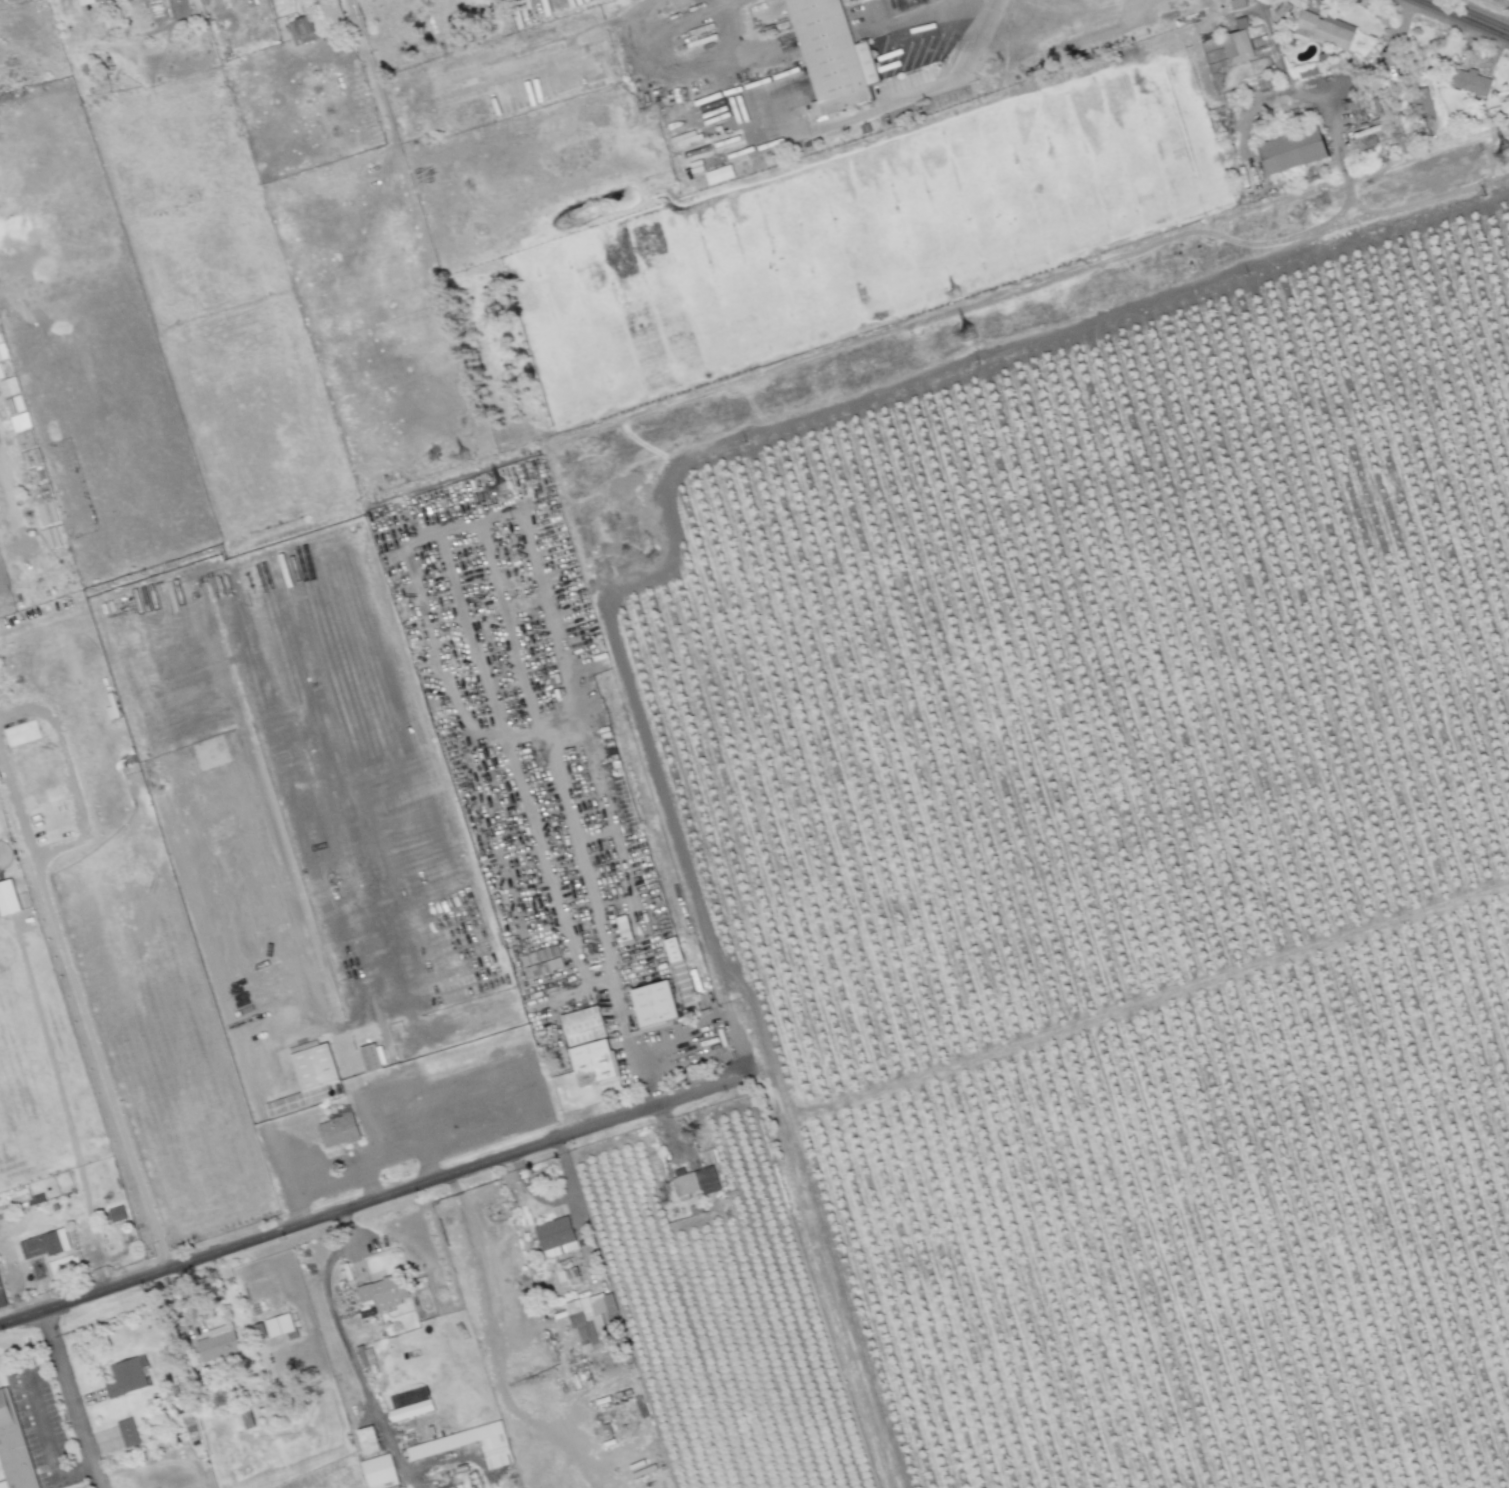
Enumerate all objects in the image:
building: (86, 2)
building: (1236, 4)
building: (330, 11)
road: (1467, 17)
building: (302, 29)
building: (1328, 30)
building: (1238, 45)
building: (831, 52)
road: (1348, 74)
building: (1468, 81)
building: (1421, 104)
road: (825, 117)
power tower: (1446, 131)
building: (1292, 148)
power tower: (1507, 156)
building: (718, 174)
power tower: (956, 292)
power tower: (973, 333)
building: (19, 422)
power tower: (460, 458)
power tower: (501, 487)
road: (517, 521)
building: (50, 537)
building: (20, 733)
railway: (1257, 744)
building: (7, 898)
building: (623, 928)
building: (540, 961)
building: (677, 966)
road: (595, 974)
building: (653, 1004)
building: (651, 1023)
building: (582, 1026)
building: (583, 1045)
building: (371, 1057)
road: (97, 1061)
building: (592, 1063)
building: (310, 1078)
building: (591, 1082)
building: (338, 1131)
building: (695, 1182)
road: (376, 1200)
building: (115, 1214)
building: (555, 1237)
building: (44, 1244)
building: (568, 1277)
building: (382, 1292)
road: (330, 1309)
building: (588, 1319)
building: (278, 1325)
building: (216, 1343)
building: (366, 1356)
building: (130, 1378)
road: (68, 1400)
building: (130, 1433)
building: (367, 1440)
road: (44, 1443)
building: (17, 1445)
building: (467, 1445)
building: (378, 1472)

